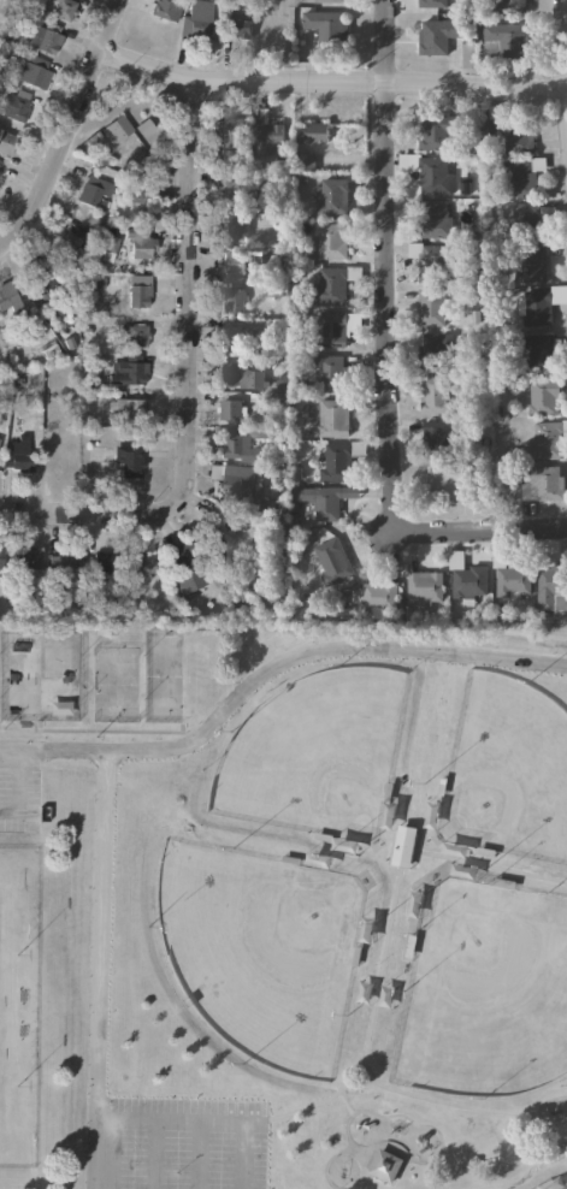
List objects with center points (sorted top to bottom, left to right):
building: (327, 0)
road: (1, 4)
building: (429, 4)
building: (512, 6)
building: (63, 8)
building: (166, 8)
building: (196, 19)
building: (325, 25)
building: (238, 28)
building: (436, 36)
building: (45, 37)
building: (504, 40)
building: (467, 55)
building: (33, 71)
road: (329, 82)
building: (14, 102)
road: (65, 128)
building: (118, 128)
building: (436, 130)
building: (312, 131)
building: (509, 131)
building: (232, 132)
building: (267, 140)
building: (6, 142)
building: (431, 174)
building: (520, 174)
building: (93, 189)
building: (240, 189)
building: (331, 195)
building: (521, 215)
building: (435, 219)
building: (235, 226)
building: (329, 241)
building: (141, 243)
building: (71, 244)
building: (270, 256)
building: (429, 256)
building: (234, 262)
building: (532, 264)
building: (35, 267)
building: (330, 285)
building: (138, 290)
building: (10, 298)
building: (234, 300)
building: (430, 307)
building: (537, 307)
building: (335, 327)
building: (136, 336)
building: (235, 336)
building: (433, 350)
building: (538, 353)
road: (382, 356)
building: (128, 369)
building: (329, 373)
building: (240, 374)
road: (190, 383)
building: (433, 394)
building: (542, 396)
building: (125, 407)
building: (232, 409)
building: (332, 418)
building: (436, 436)
building: (545, 439)
building: (238, 448)
building: (17, 455)
building: (336, 459)
building: (130, 465)
building: (236, 480)
building: (441, 481)
building: (542, 484)
building: (326, 499)
building: (220, 532)
building: (0, 557)
building: (29, 558)
building: (330, 561)
building: (63, 562)
building: (102, 562)
building: (141, 564)
building: (185, 570)
building: (509, 579)
building: (467, 582)
building: (424, 587)
building: (551, 587)
building: (377, 597)
road: (271, 668)
park: (37, 676)
park: (161, 676)
park: (114, 684)
park: (311, 755)
park: (507, 768)
road: (14, 777)
parking lot: (19, 785)
road: (7, 808)
road: (415, 840)
building: (401, 846)
road: (389, 851)
park: (284, 909)
park: (260, 948)
road: (101, 968)
road: (376, 983)
park: (482, 994)
road: (349, 1072)
road: (353, 1082)
road: (542, 1095)
road: (338, 1096)
road: (293, 1111)
road: (209, 1119)
parking lot: (176, 1143)
road: (379, 1143)
road: (155, 1153)
road: (336, 1153)
road: (199, 1154)
road: (436, 1154)
road: (356, 1160)
building: (471, 1160)
building: (384, 1166)
road: (555, 1179)
park: (566, 1188)

